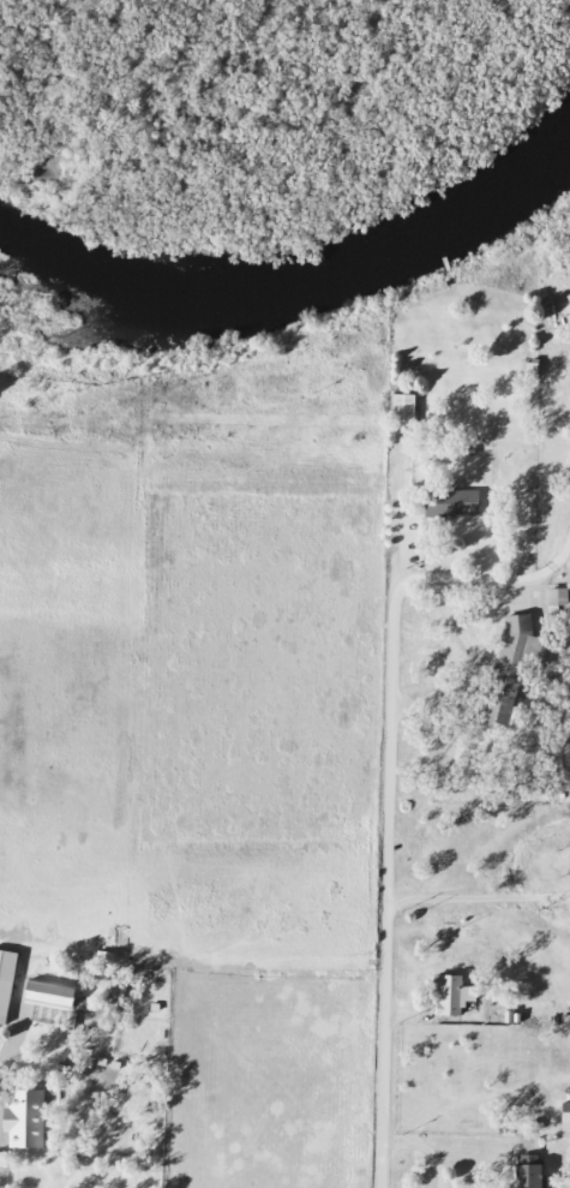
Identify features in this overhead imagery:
river: (293, 285)
building: (568, 298)
building: (401, 408)
building: (448, 502)
building: (556, 597)
building: (510, 669)
building: (5, 983)
building: (47, 995)
building: (445, 996)
building: (23, 1120)
building: (564, 1121)
building: (527, 1171)

